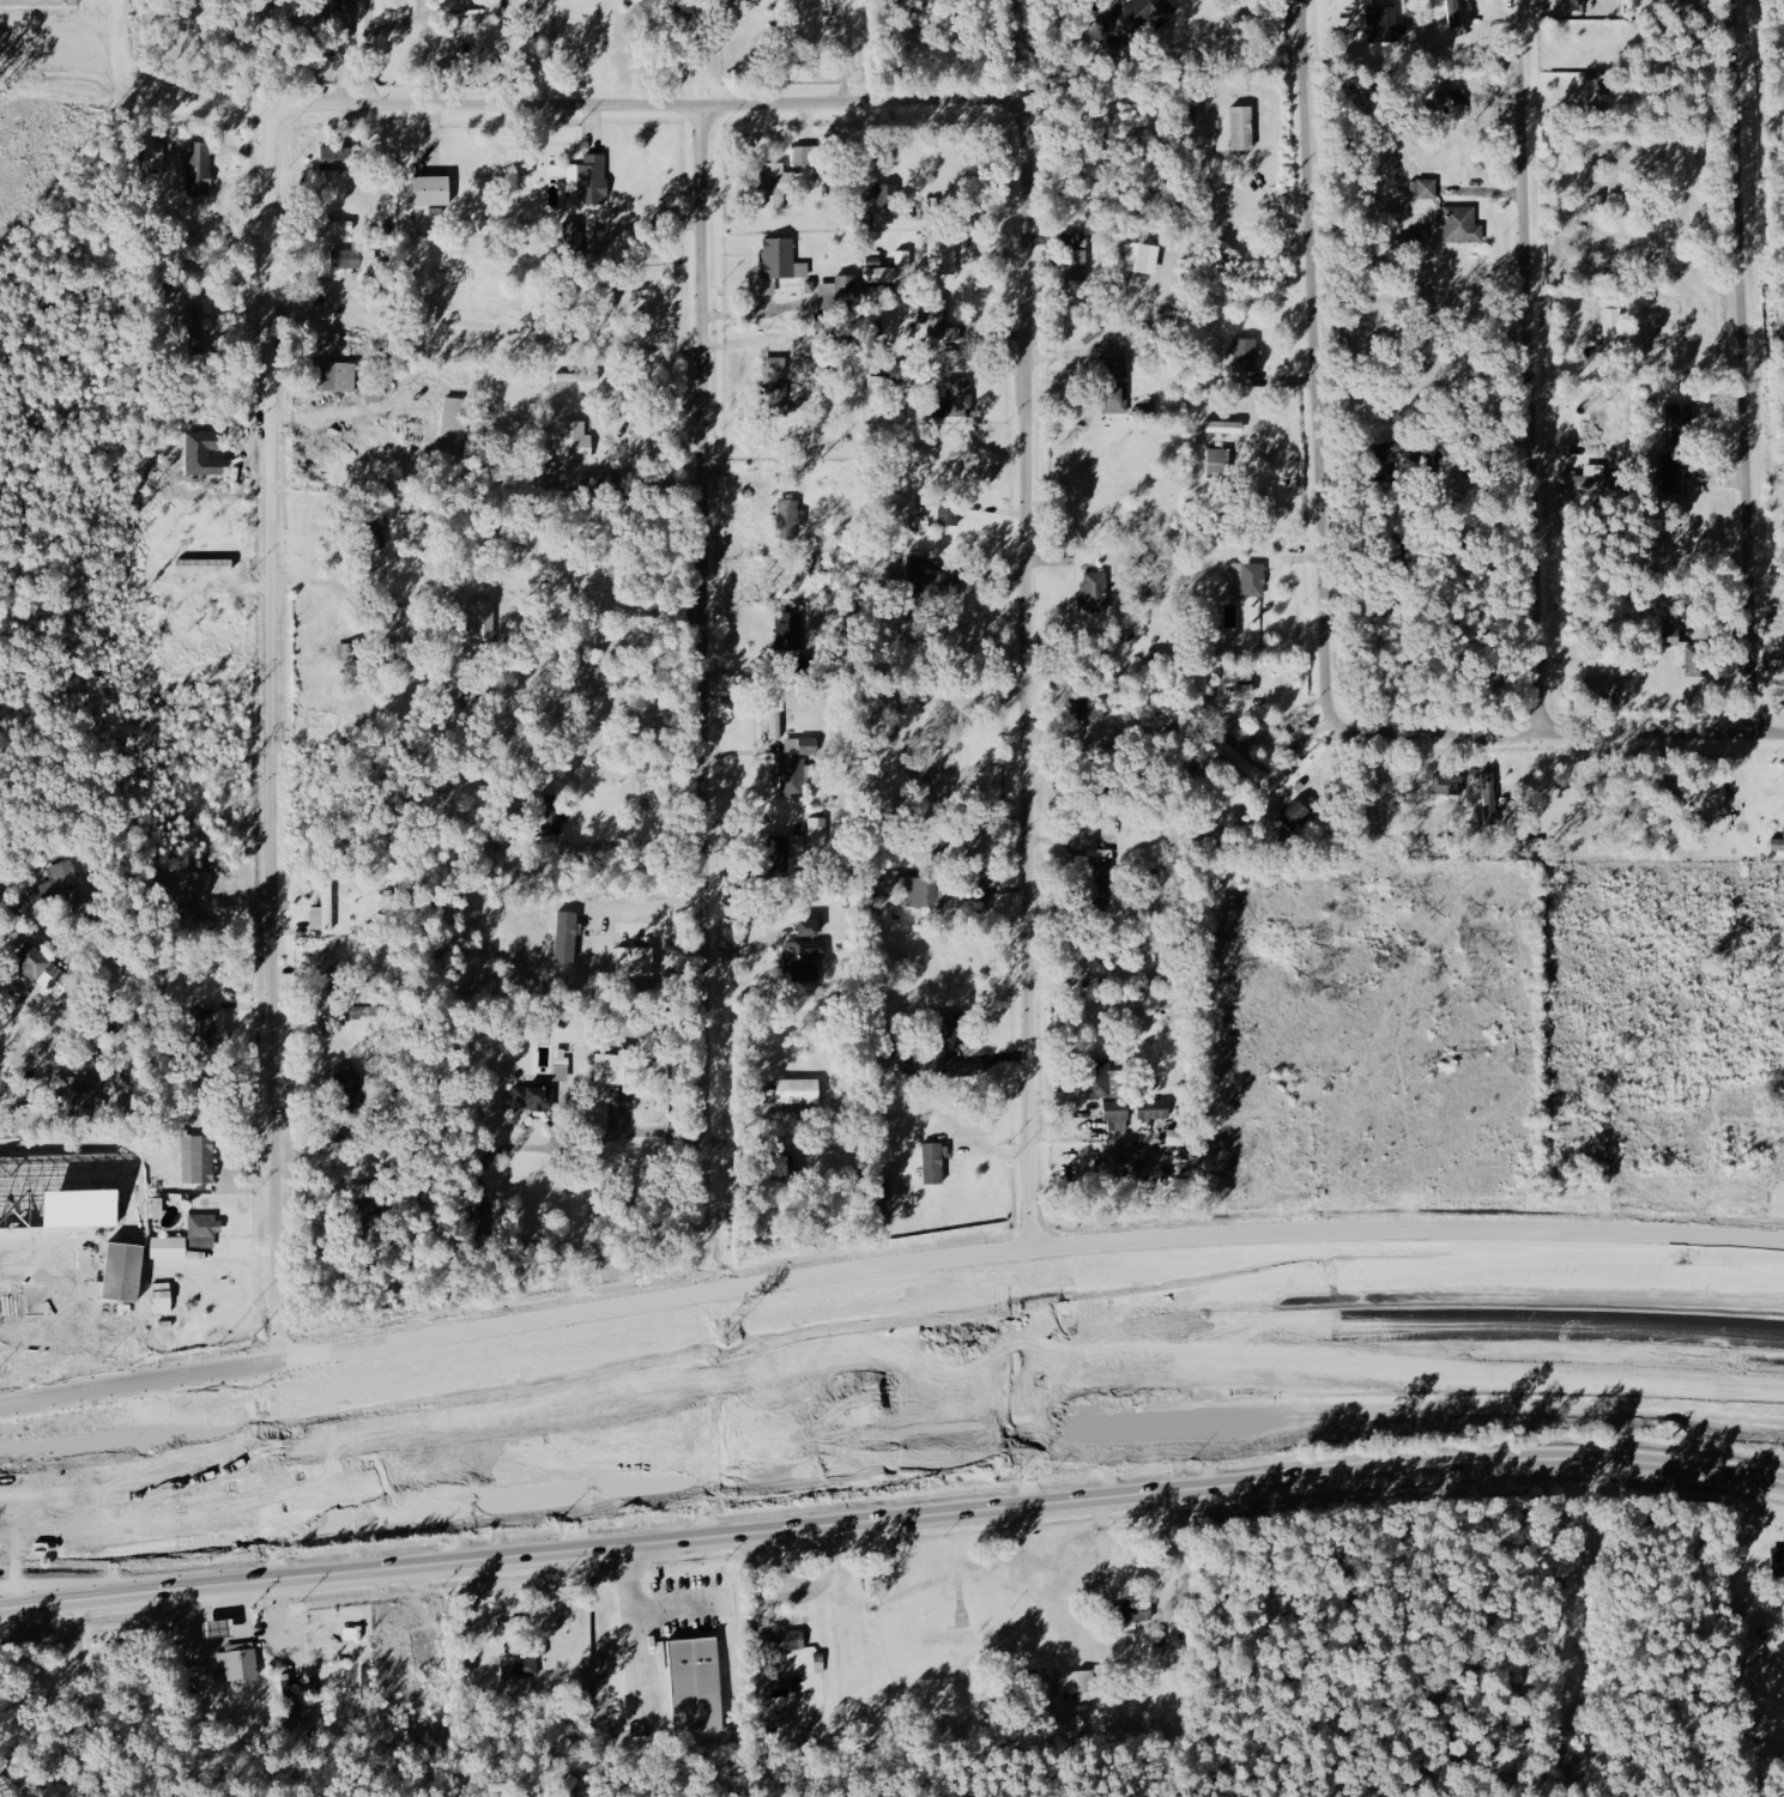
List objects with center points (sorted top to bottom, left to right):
building: (1453, 13)
building: (1139, 16)
road: (370, 17)
road: (403, 23)
building: (1383, 25)
road: (842, 52)
road: (1041, 56)
road: (369, 72)
building: (1455, 96)
road: (641, 109)
building: (1242, 128)
building: (155, 149)
building: (806, 156)
building: (331, 159)
building: (200, 169)
building: (586, 179)
building: (770, 187)
building: (1425, 189)
building: (431, 190)
building: (882, 196)
building: (323, 224)
road: (647, 224)
building: (1459, 225)
building: (573, 238)
building: (1072, 240)
building: (942, 255)
building: (345, 258)
building: (1142, 259)
building: (778, 264)
building: (1077, 265)
building: (879, 274)
building: (847, 288)
building: (941, 322)
building: (200, 326)
building: (1611, 332)
road: (640, 352)
building: (1242, 356)
road: (1743, 365)
road: (1530, 367)
building: (334, 376)
building: (575, 377)
building: (1115, 380)
building: (774, 387)
road: (1316, 388)
building: (960, 397)
building: (1680, 423)
building: (454, 426)
building: (575, 441)
road: (621, 443)
building: (1218, 462)
building: (1671, 474)
building: (1591, 477)
building: (949, 516)
building: (790, 519)
building: (371, 537)
building: (1250, 580)
building: (931, 581)
road: (328, 586)
building: (1094, 592)
building: (480, 619)
building: (1685, 635)
building: (386, 653)
road: (1032, 665)
building: (1238, 673)
building: (1604, 690)
building: (1244, 691)
road: (708, 703)
building: (1081, 708)
building: (776, 724)
road: (277, 734)
road: (1585, 734)
building: (1239, 758)
building: (792, 772)
building: (1449, 786)
building: (1492, 797)
building: (550, 813)
building: (1295, 817)
building: (817, 833)
road: (636, 843)
building: (1778, 845)
building: (778, 852)
building: (1099, 876)
building: (62, 885)
building: (919, 893)
road: (654, 901)
building: (323, 912)
building: (196, 921)
building: (566, 937)
building: (804, 951)
building: (635, 962)
building: (30, 963)
building: (1093, 964)
building: (322, 973)
building: (942, 1031)
building: (609, 1069)
building: (1099, 1079)
building: (797, 1090)
building: (80, 1091)
building: (531, 1097)
building: (1155, 1109)
building: (1117, 1115)
road: (1082, 1117)
building: (1177, 1137)
road: (607, 1138)
building: (198, 1158)
building: (932, 1162)
building: (204, 1229)
building: (168, 1247)
building: (120, 1272)
road: (887, 1275)
building: (162, 1297)
road: (74, 1300)
road: (1208, 1305)
road: (887, 1367)
road: (887, 1420)
building: (595, 1447)
road: (824, 1464)
building: (666, 1471)
road: (1032, 1507)
building: (1778, 1562)
building: (1566, 1578)
road: (792, 1592)
road: (139, 1599)
road: (673, 1602)
building: (1131, 1614)
road: (634, 1628)
building: (782, 1640)
building: (343, 1645)
building: (238, 1662)
building: (519, 1668)
building: (1080, 1682)
building: (697, 1684)

